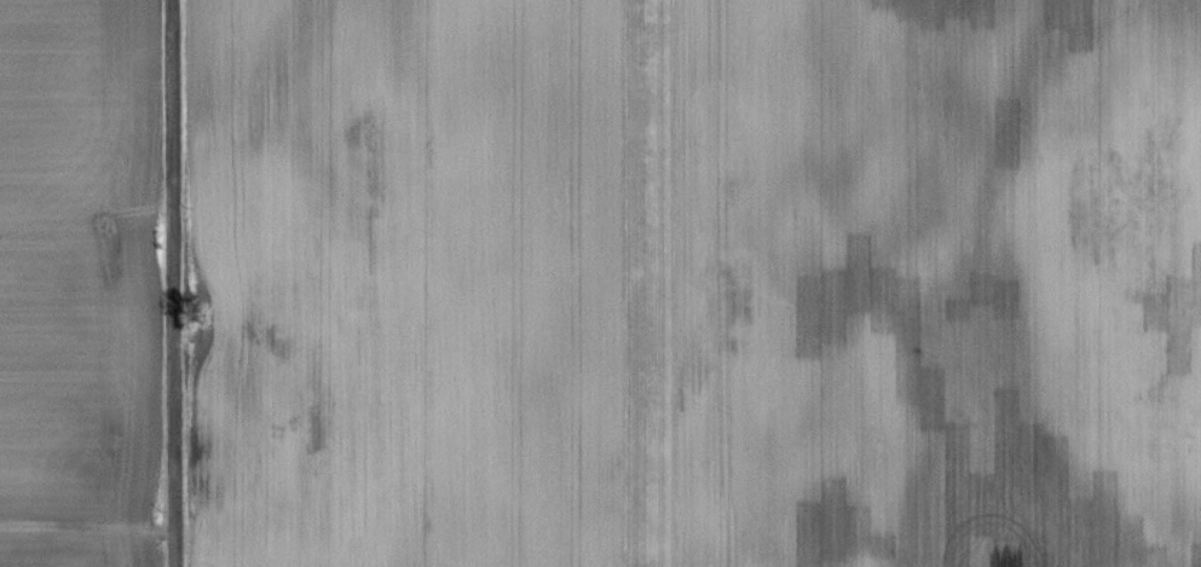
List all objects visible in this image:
road: (174, 283)

